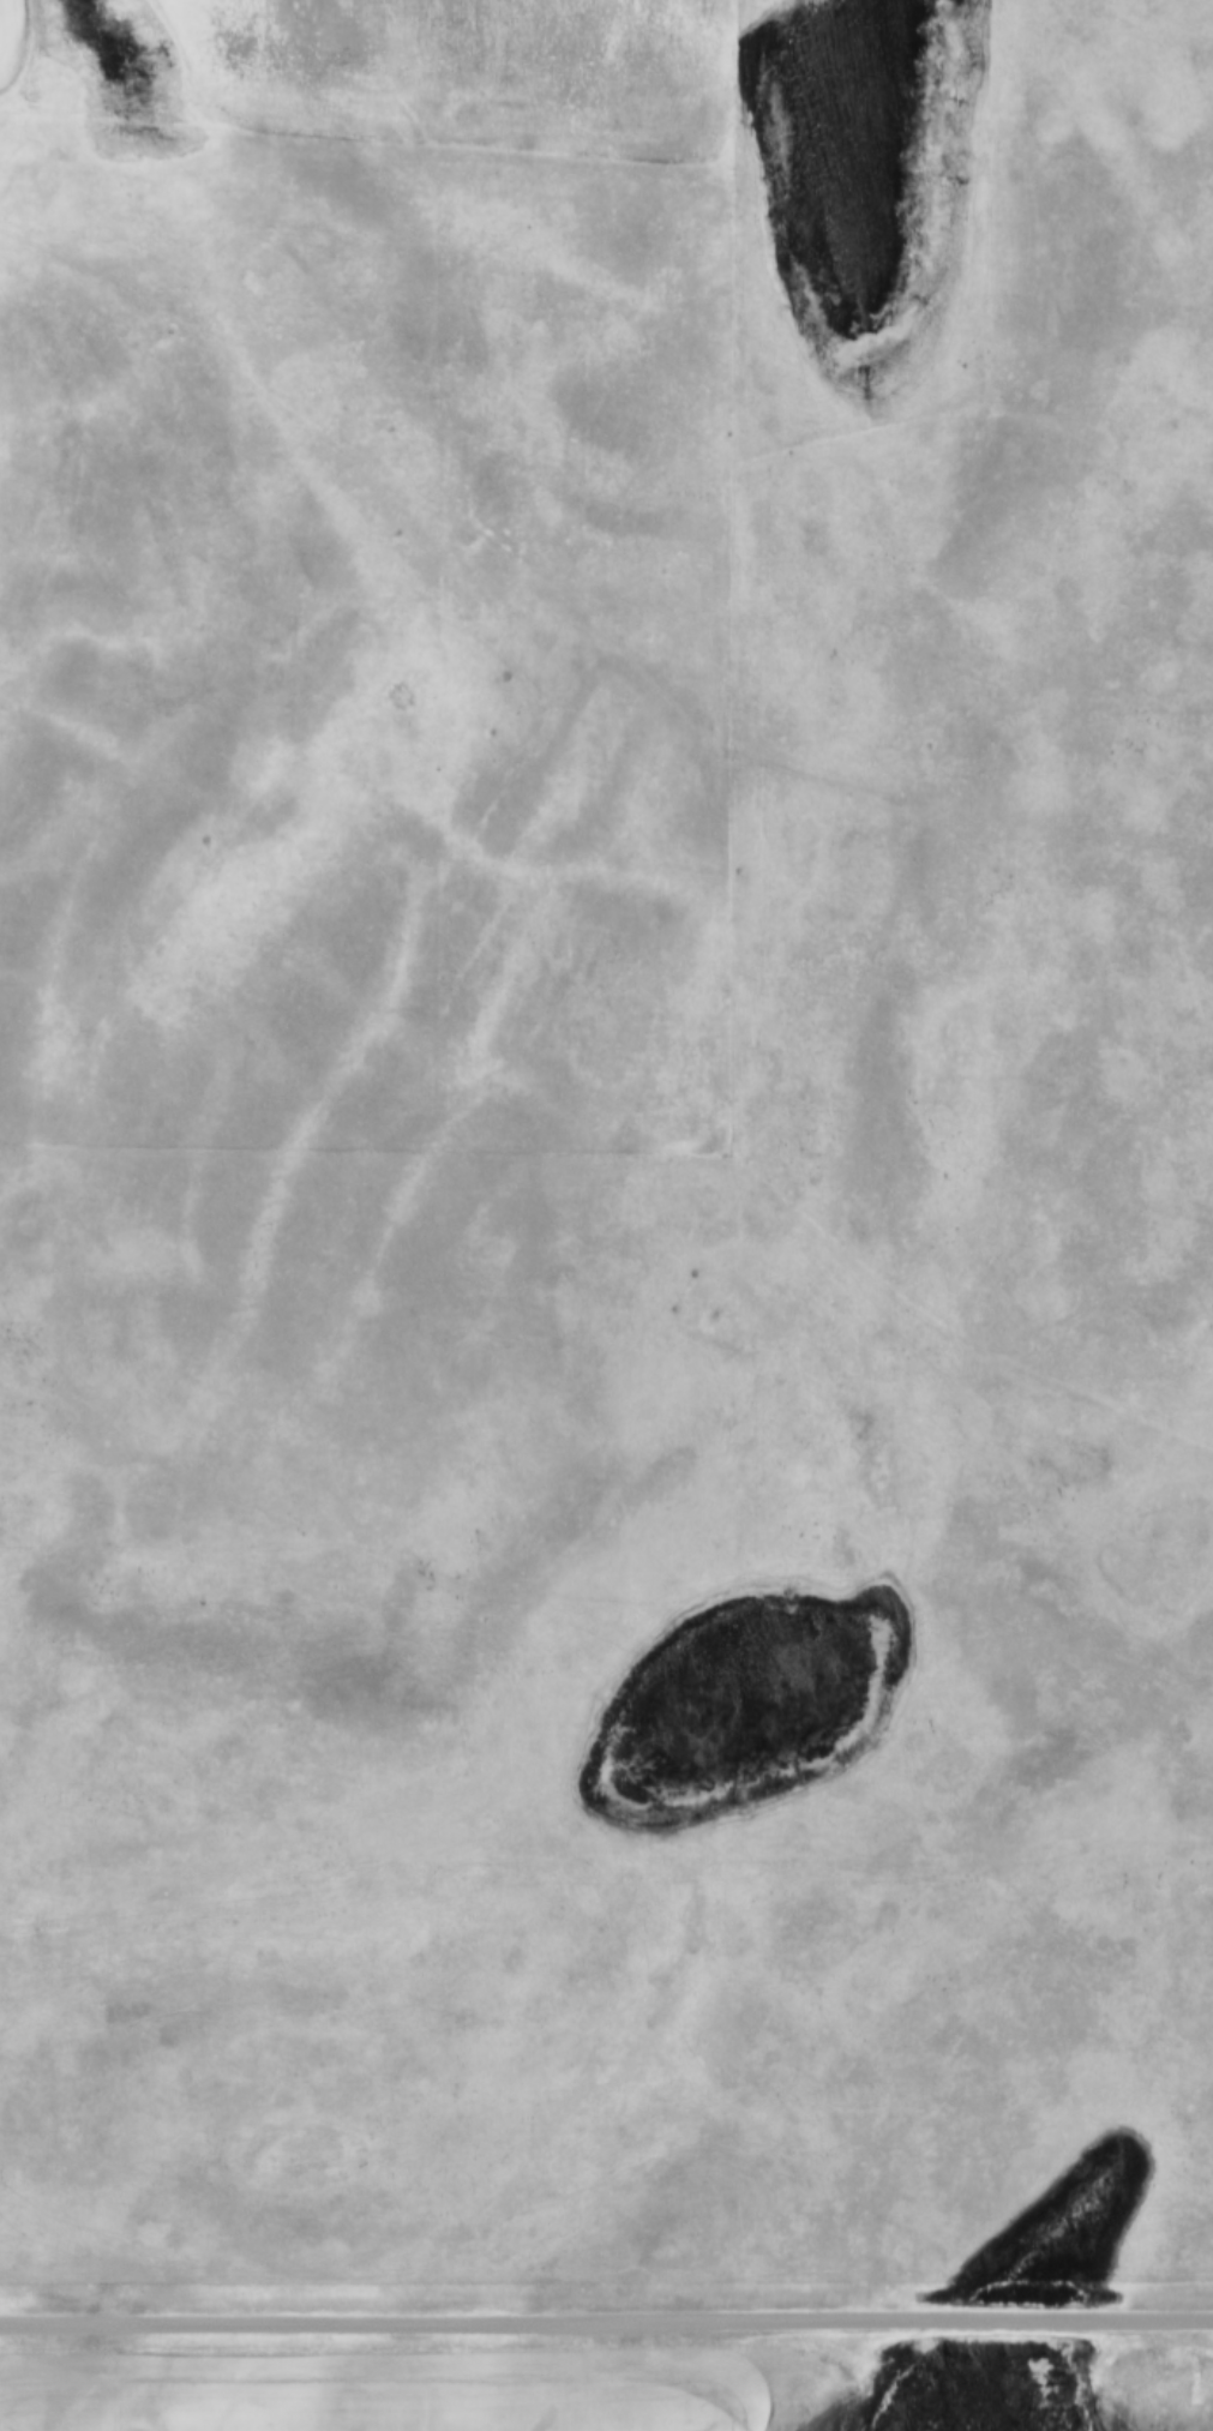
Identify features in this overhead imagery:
road: (606, 2321)

